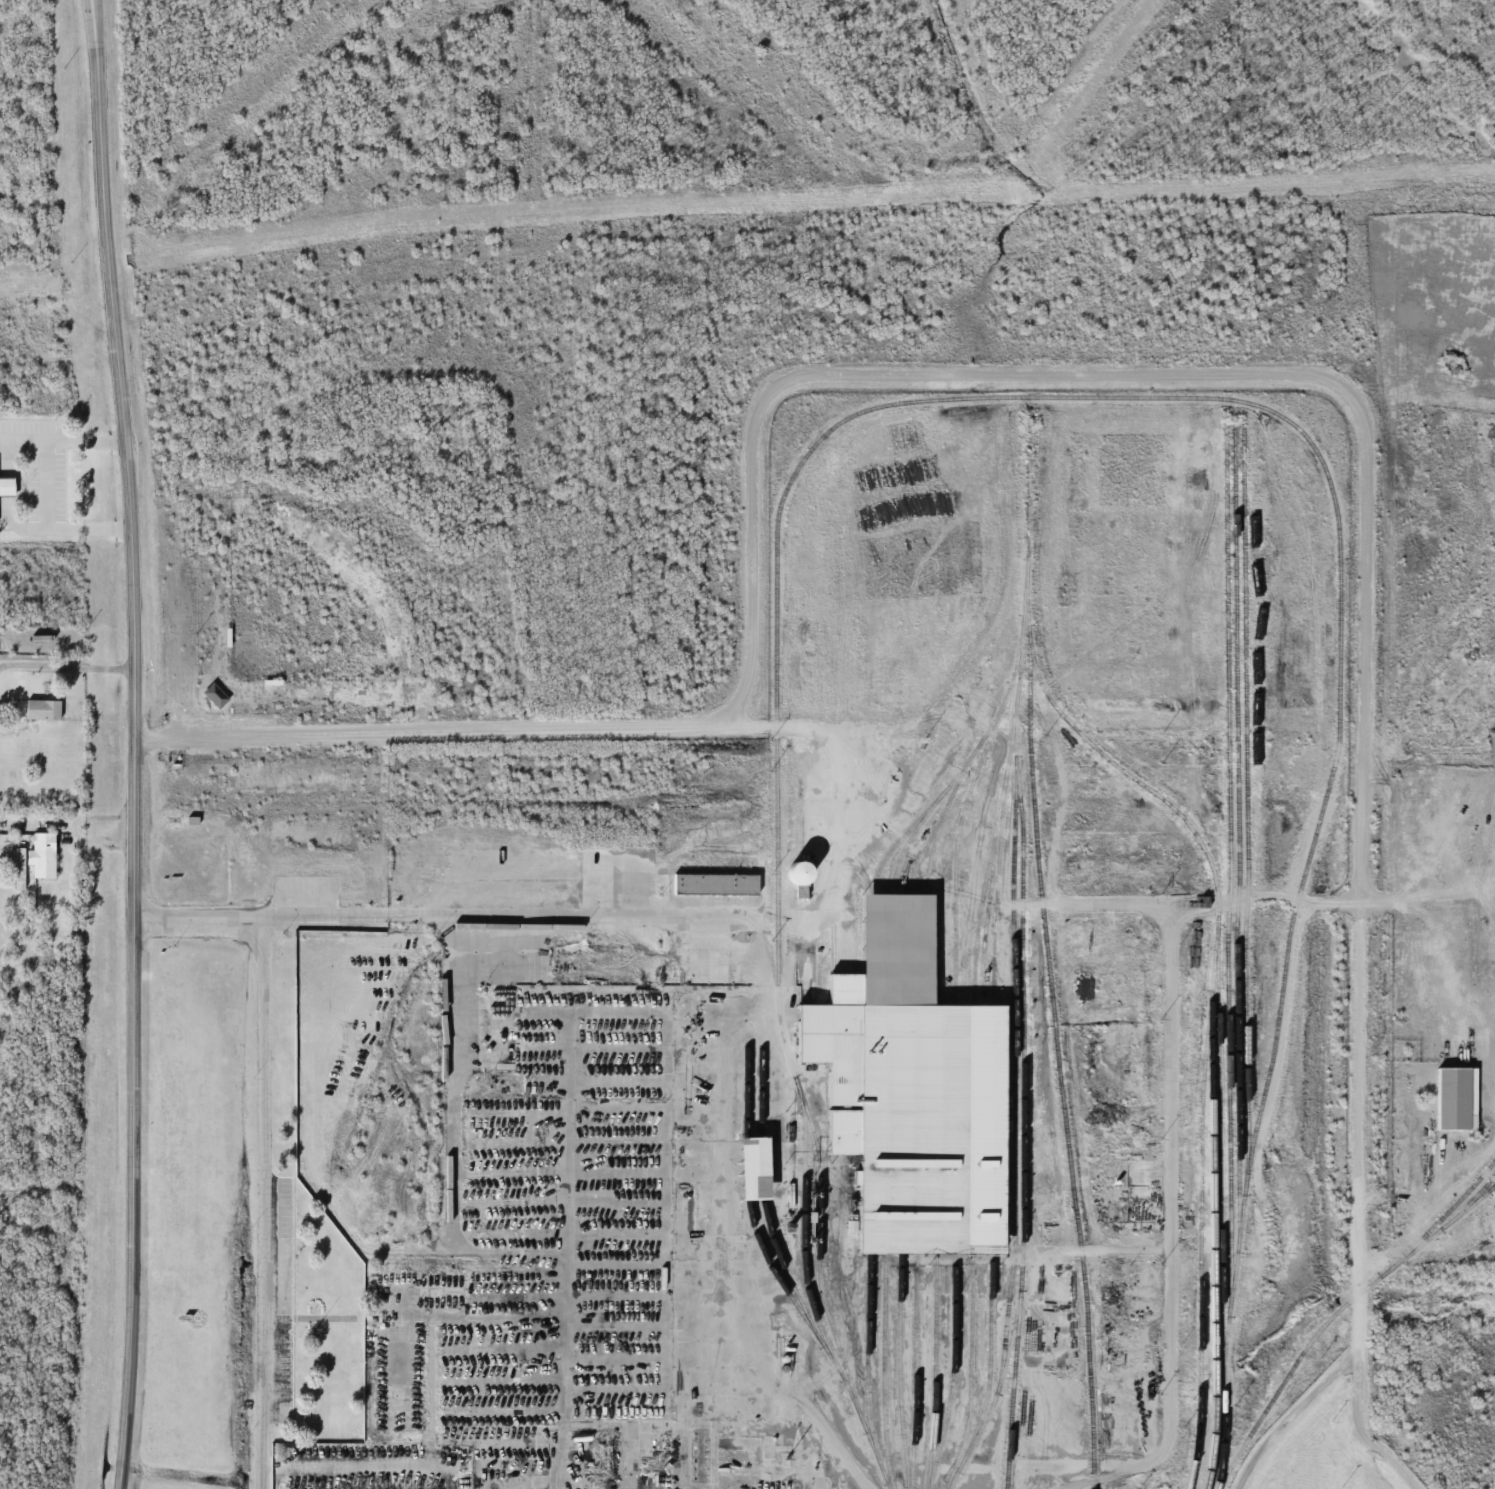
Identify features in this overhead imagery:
building: (8, 478)
building: (215, 695)
building: (46, 702)
road: (134, 743)
building: (44, 847)
building: (20, 868)
building: (799, 871)
building: (715, 883)
road: (748, 917)
building: (1456, 1098)
road: (264, 1202)
parking lot: (282, 1299)
building: (1120, 1340)
road: (1169, 1362)
building: (839, 1435)
railway: (1196, 1446)
railway: (1221, 1446)
railway: (1210, 1447)
road: (375, 1467)
parking lot: (378, 1467)
road: (915, 1478)

